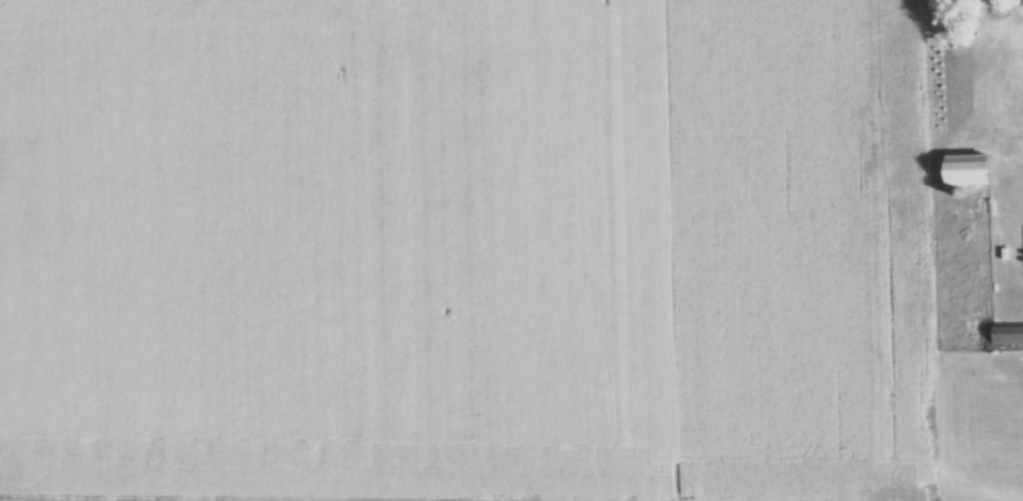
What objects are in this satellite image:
building: (982, 96)
building: (974, 179)
building: (1009, 334)

